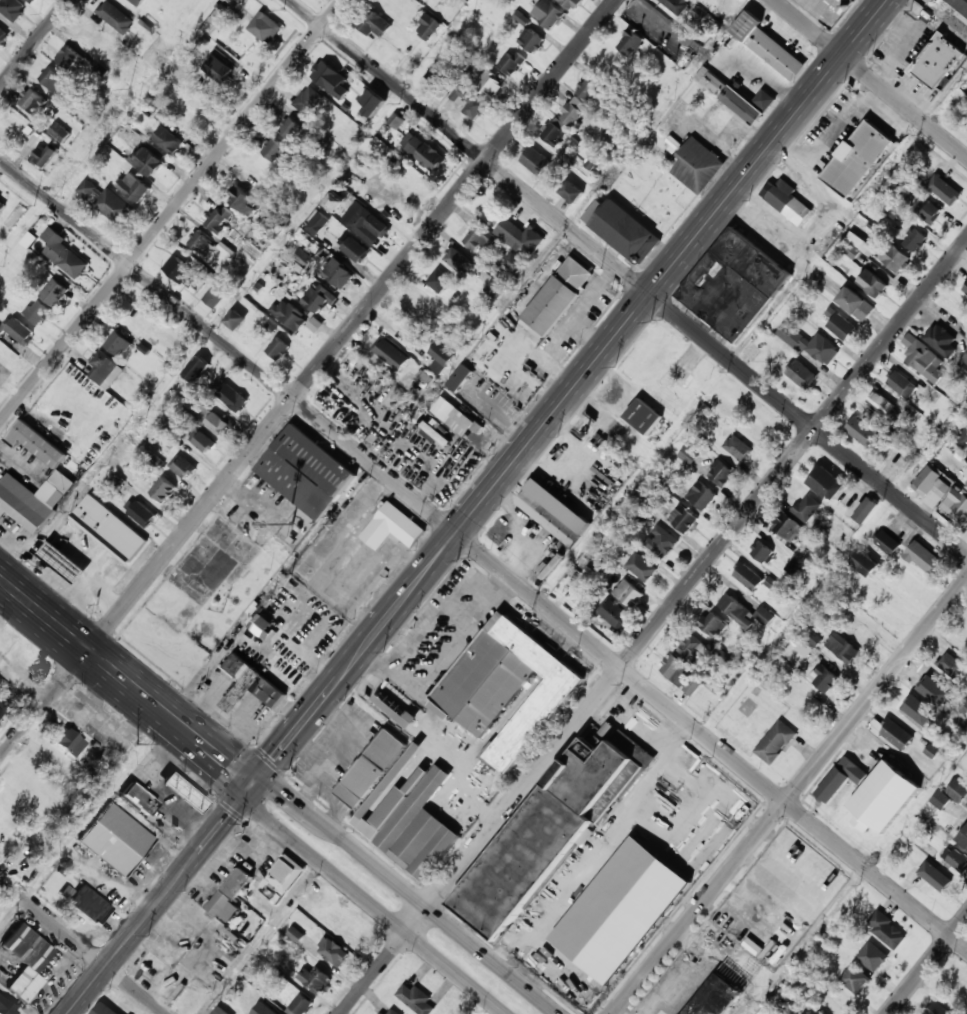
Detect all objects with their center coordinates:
building: (242, 0)
building: (30, 1)
building: (134, 2)
building: (571, 3)
building: (675, 4)
building: (960, 8)
building: (11, 9)
building: (829, 9)
building: (700, 12)
building: (548, 13)
building: (114, 19)
building: (147, 21)
building: (373, 23)
building: (265, 27)
building: (428, 27)
building: (3, 36)
building: (531, 40)
road: (34, 42)
building: (630, 42)
road: (911, 42)
building: (769, 46)
building: (68, 58)
road: (720, 59)
building: (511, 62)
building: (939, 62)
building: (408, 63)
building: (226, 73)
building: (52, 78)
road: (870, 78)
building: (330, 79)
building: (711, 80)
building: (489, 84)
building: (590, 89)
building: (765, 99)
building: (308, 100)
building: (32, 101)
building: (373, 103)
building: (473, 106)
building: (741, 106)
building: (574, 111)
building: (396, 120)
building: (292, 128)
building: (59, 132)
building: (553, 133)
road: (830, 135)
building: (168, 140)
building: (273, 149)
building: (45, 155)
building: (430, 157)
building: (535, 160)
building: (146, 161)
building: (856, 161)
building: (698, 166)
building: (133, 187)
building: (952, 189)
building: (571, 191)
building: (241, 199)
building: (788, 201)
building: (107, 202)
building: (2, 205)
road: (306, 210)
road: (170, 211)
building: (928, 211)
road: (715, 213)
building: (220, 219)
building: (317, 223)
building: (368, 226)
building: (626, 231)
building: (523, 236)
building: (479, 237)
building: (915, 239)
building: (201, 243)
building: (861, 243)
building: (226, 250)
building: (356, 250)
building: (63, 253)
building: (303, 257)
building: (894, 257)
building: (321, 259)
building: (458, 261)
building: (516, 263)
building: (181, 271)
building: (338, 274)
road: (628, 276)
building: (438, 280)
building: (871, 283)
building: (734, 284)
building: (497, 287)
building: (965, 288)
building: (54, 292)
building: (216, 294)
building: (316, 298)
building: (856, 304)
building: (552, 305)
building: (424, 309)
building: (38, 312)
building: (289, 315)
building: (235, 320)
building: (315, 324)
building: (842, 327)
building: (19, 330)
road: (565, 331)
road: (589, 335)
building: (941, 340)
building: (117, 343)
building: (808, 343)
building: (278, 349)
building: (392, 356)
building: (440, 357)
building: (923, 358)
building: (964, 364)
building: (102, 367)
building: (197, 369)
building: (3, 373)
building: (802, 375)
building: (676, 376)
building: (459, 377)
road: (307, 379)
building: (902, 384)
building: (232, 398)
building: (881, 405)
building: (452, 416)
road: (502, 416)
building: (644, 416)
building: (217, 421)
building: (860, 431)
building: (430, 432)
building: (962, 437)
building: (37, 443)
building: (203, 443)
building: (739, 449)
building: (688, 455)
building: (183, 467)
building: (965, 471)
building: (306, 472)
building: (721, 473)
road: (500, 479)
building: (927, 479)
building: (825, 482)
building: (966, 486)
building: (162, 489)
building: (702, 496)
building: (958, 502)
building: (23, 504)
building: (806, 508)
building: (865, 510)
building: (553, 512)
building: (142, 514)
building: (683, 519)
building: (110, 527)
building: (392, 527)
building: (787, 527)
building: (660, 542)
building: (887, 542)
road: (483, 552)
building: (761, 552)
building: (923, 558)
building: (61, 561)
building: (865, 563)
building: (111, 566)
building: (641, 567)
building: (747, 577)
building: (771, 582)
building: (631, 596)
road: (401, 602)
building: (743, 613)
building: (615, 615)
building: (260, 624)
building: (713, 625)
road: (653, 627)
road: (64, 632)
building: (814, 639)
building: (691, 647)
building: (842, 648)
building: (804, 649)
building: (951, 666)
building: (682, 675)
building: (823, 679)
building: (250, 684)
building: (506, 689)
building: (931, 690)
building: (963, 708)
building: (397, 709)
building: (0, 710)
building: (912, 713)
road: (298, 728)
road: (191, 734)
building: (896, 735)
building: (775, 742)
building: (68, 743)
building: (840, 779)
traffic signals: (253, 784)
road: (267, 786)
building: (31, 788)
building: (957, 790)
building: (183, 793)
gas station: (183, 793)
road: (256, 794)
road: (789, 796)
building: (883, 798)
building: (139, 799)
building: (940, 799)
building: (399, 804)
road: (305, 809)
road: (219, 827)
building: (551, 837)
building: (963, 838)
building: (115, 839)
building: (958, 861)
building: (284, 875)
building: (939, 881)
building: (276, 897)
building: (89, 905)
road: (385, 909)
road: (440, 922)
building: (344, 930)
building: (886, 930)
building: (199, 936)
road: (126, 941)
road: (81, 947)
building: (333, 951)
building: (873, 956)
building: (24, 960)
road: (927, 964)
building: (315, 978)
building: (854, 978)
building: (960, 984)
building: (722, 990)
building: (197, 998)
building: (416, 998)
building: (259, 1004)
building: (300, 1005)
building: (6, 1007)
building: (938, 1008)
building: (103, 1010)
building: (811, 1010)
building: (220, 1011)
building: (391, 1012)

